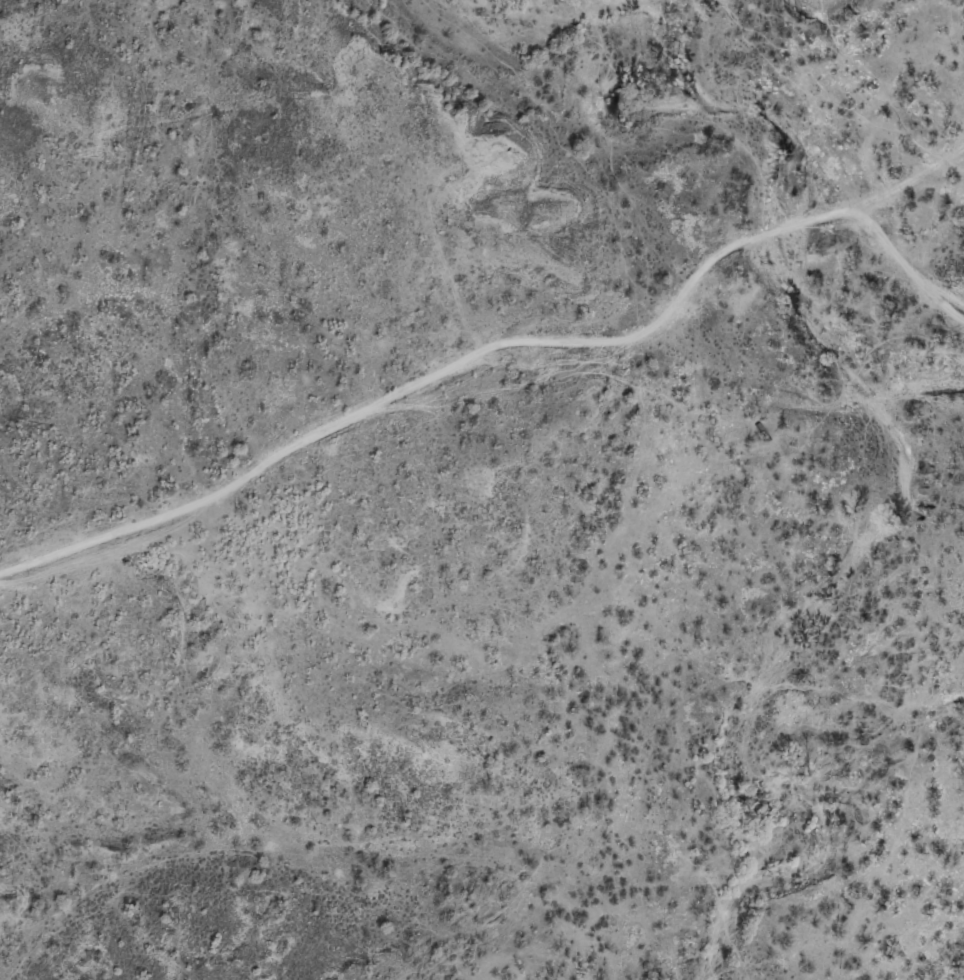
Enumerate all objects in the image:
road: (497, 345)

